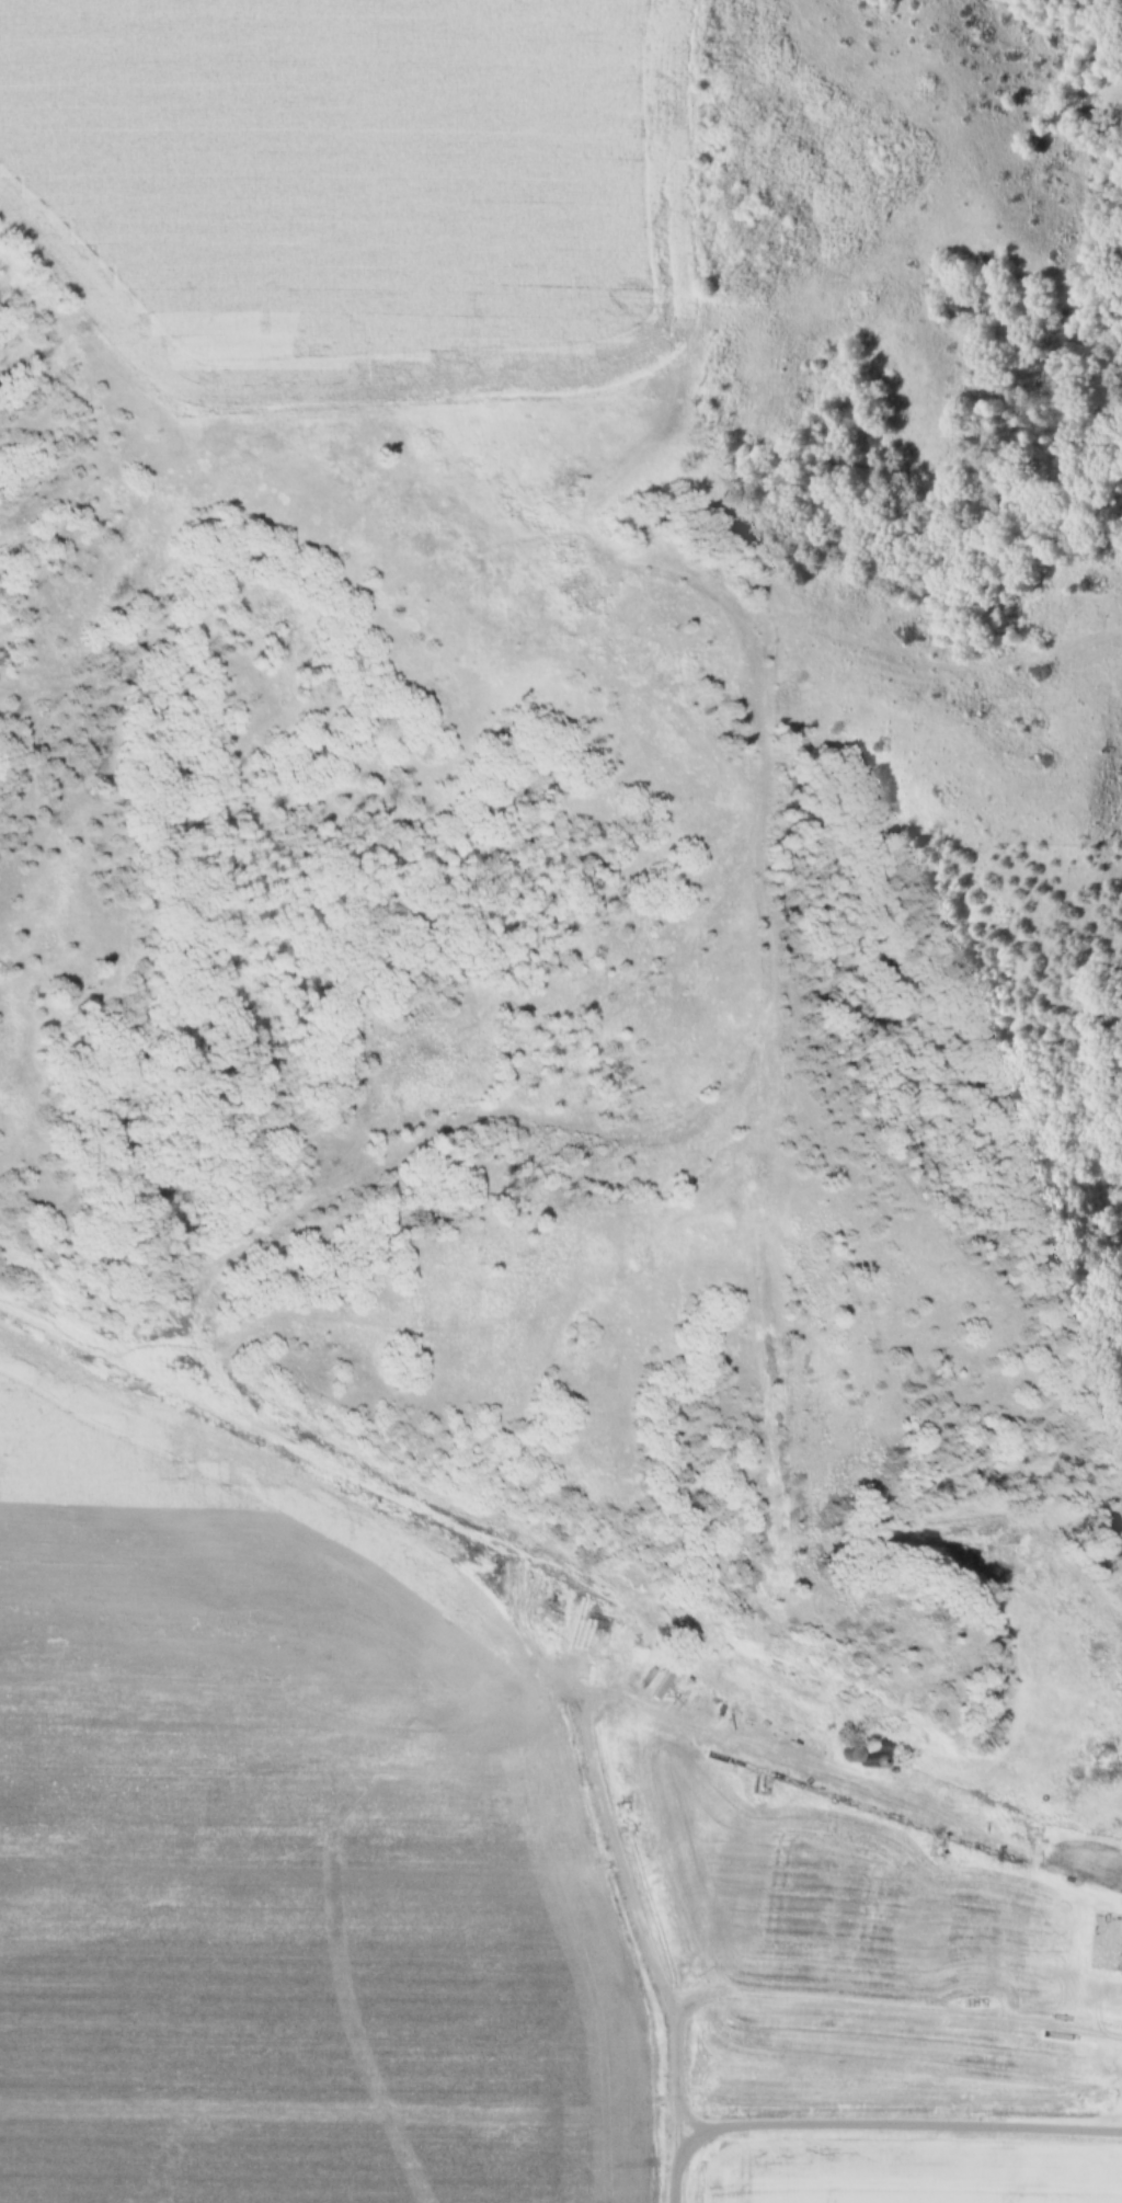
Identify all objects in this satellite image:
road: (652, 1965)
road: (895, 2124)

